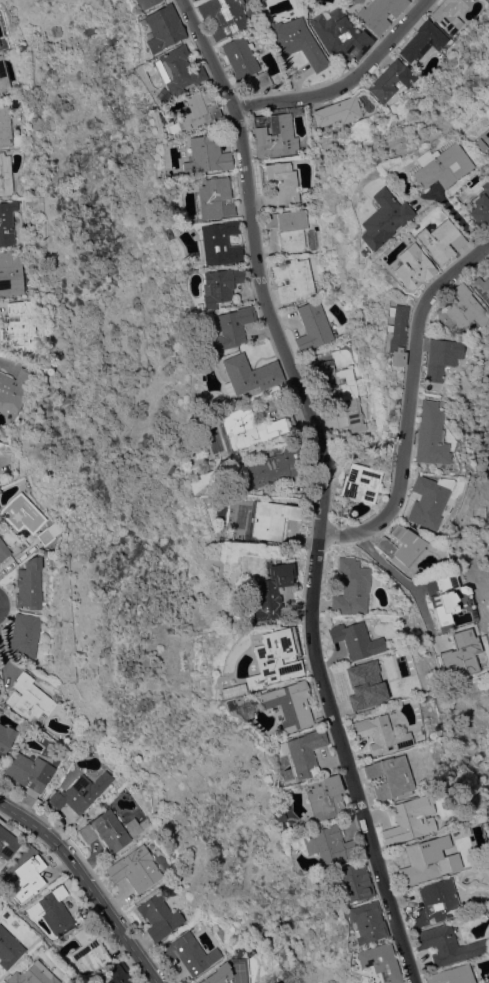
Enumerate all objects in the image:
building: (144, 3)
building: (379, 13)
building: (450, 13)
building: (224, 16)
building: (161, 28)
building: (338, 33)
building: (297, 41)
building: (422, 42)
building: (244, 62)
building: (176, 69)
building: (3, 77)
road: (347, 80)
building: (391, 80)
building: (159, 95)
building: (196, 111)
building: (337, 111)
building: (5, 126)
building: (166, 126)
building: (274, 135)
building: (477, 144)
building: (205, 155)
building: (486, 156)
building: (441, 165)
building: (6, 174)
building: (279, 184)
building: (214, 198)
building: (479, 204)
road: (449, 211)
building: (382, 218)
building: (7, 222)
building: (288, 228)
building: (439, 240)
building: (221, 242)
building: (486, 264)
building: (411, 266)
building: (12, 273)
building: (293, 279)
building: (219, 285)
building: (481, 288)
building: (462, 307)
building: (21, 322)
building: (314, 326)
building: (229, 328)
building: (397, 335)
building: (440, 357)
building: (248, 374)
building: (15, 389)
building: (343, 391)
road: (409, 399)
building: (248, 427)
building: (429, 434)
building: (272, 468)
building: (361, 483)
road: (322, 486)
building: (428, 500)
building: (23, 513)
building: (269, 518)
building: (50, 533)
building: (400, 546)
building: (3, 550)
building: (448, 564)
road: (399, 575)
building: (30, 583)
building: (350, 586)
building: (463, 589)
building: (271, 591)
building: (441, 598)
building: (25, 634)
building: (355, 640)
building: (461, 652)
building: (273, 659)
building: (363, 685)
building: (29, 699)
building: (236, 700)
building: (225, 704)
building: (288, 704)
building: (379, 733)
building: (6, 737)
building: (302, 751)
building: (29, 772)
building: (389, 777)
building: (80, 792)
building: (323, 796)
building: (274, 812)
building: (410, 820)
building: (137, 826)
building: (105, 831)
building: (7, 841)
building: (326, 844)
building: (422, 860)
building: (136, 868)
building: (27, 878)
building: (352, 881)
road: (88, 882)
building: (436, 902)
building: (52, 909)
building: (159, 916)
building: (367, 921)
building: (447, 944)
building: (9, 948)
building: (88, 949)
building: (190, 954)
building: (379, 961)
building: (218, 974)
building: (32, 975)
building: (118, 975)
building: (451, 975)

